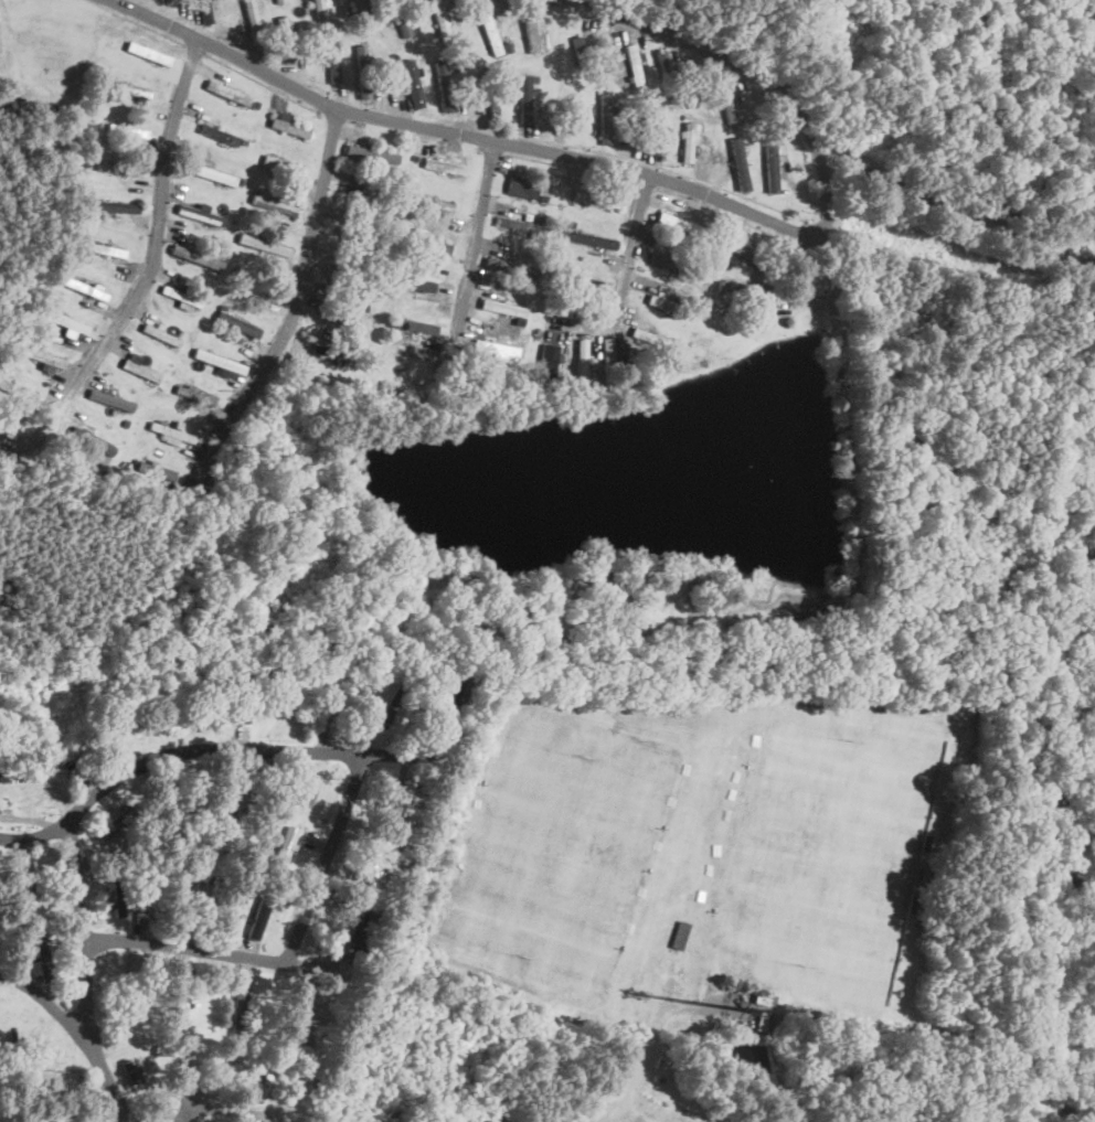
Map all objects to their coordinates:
building: (279, 1)
building: (361, 4)
building: (317, 8)
building: (203, 11)
building: (398, 18)
building: (440, 18)
building: (252, 24)
building: (488, 33)
building: (533, 35)
building: (283, 39)
building: (577, 52)
building: (147, 53)
building: (330, 61)
building: (632, 66)
building: (361, 72)
building: (667, 76)
building: (411, 84)
building: (442, 86)
building: (128, 89)
building: (488, 92)
building: (226, 93)
building: (724, 98)
building: (522, 99)
building: (26, 107)
building: (571, 114)
building: (604, 117)
building: (287, 127)
building: (121, 128)
building: (217, 135)
road: (455, 135)
building: (656, 137)
building: (685, 142)
building: (370, 154)
building: (737, 163)
building: (280, 164)
building: (769, 164)
building: (443, 165)
building: (209, 173)
building: (523, 186)
building: (596, 199)
building: (273, 204)
building: (109, 206)
building: (199, 215)
building: (677, 222)
building: (519, 224)
building: (355, 234)
building: (588, 238)
building: (421, 244)
building: (263, 245)
building: (103, 248)
road: (155, 248)
building: (740, 248)
building: (195, 257)
road: (472, 258)
building: (665, 260)
building: (510, 266)
road: (624, 274)
building: (582, 281)
building: (411, 285)
building: (743, 287)
building: (84, 288)
building: (180, 296)
building: (663, 302)
building: (501, 307)
road: (296, 309)
building: (338, 312)
building: (61, 320)
building: (237, 324)
building: (412, 325)
building: (159, 334)
building: (650, 336)
building: (493, 346)
building: (607, 346)
building: (40, 354)
building: (217, 361)
building: (546, 362)
building: (580, 364)
building: (139, 370)
building: (17, 391)
road: (841, 391)
building: (194, 394)
building: (109, 399)
building: (170, 431)
building: (93, 441)
building: (156, 470)
building: (394, 701)
building: (331, 704)
road: (193, 752)
building: (400, 799)
building: (116, 821)
building: (290, 833)
park: (834, 848)
park: (552, 856)
road: (327, 858)
building: (375, 863)
building: (22, 887)
building: (117, 890)
building: (205, 897)
building: (256, 915)
building: (139, 916)
building: (351, 927)
building: (678, 933)
road: (225, 955)
building: (38, 957)
road: (96, 982)
building: (125, 994)
road: (45, 996)
building: (174, 1000)
building: (237, 1012)
building: (293, 1018)
road: (255, 1047)
building: (129, 1073)
road: (626, 1076)
building: (262, 1083)
road: (200, 1084)
road: (213, 1108)
road: (632, 1114)

